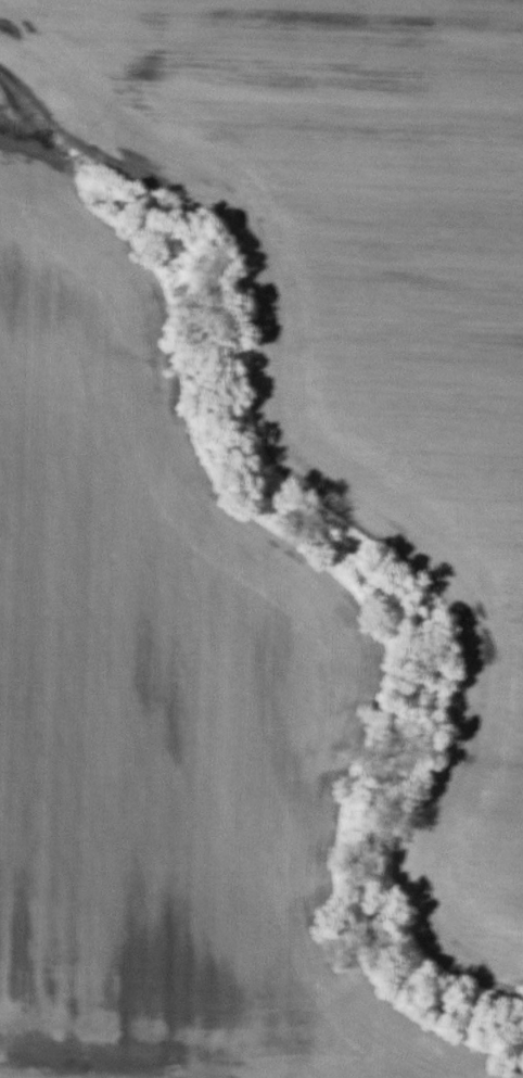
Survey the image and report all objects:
crop: (253, 527)

